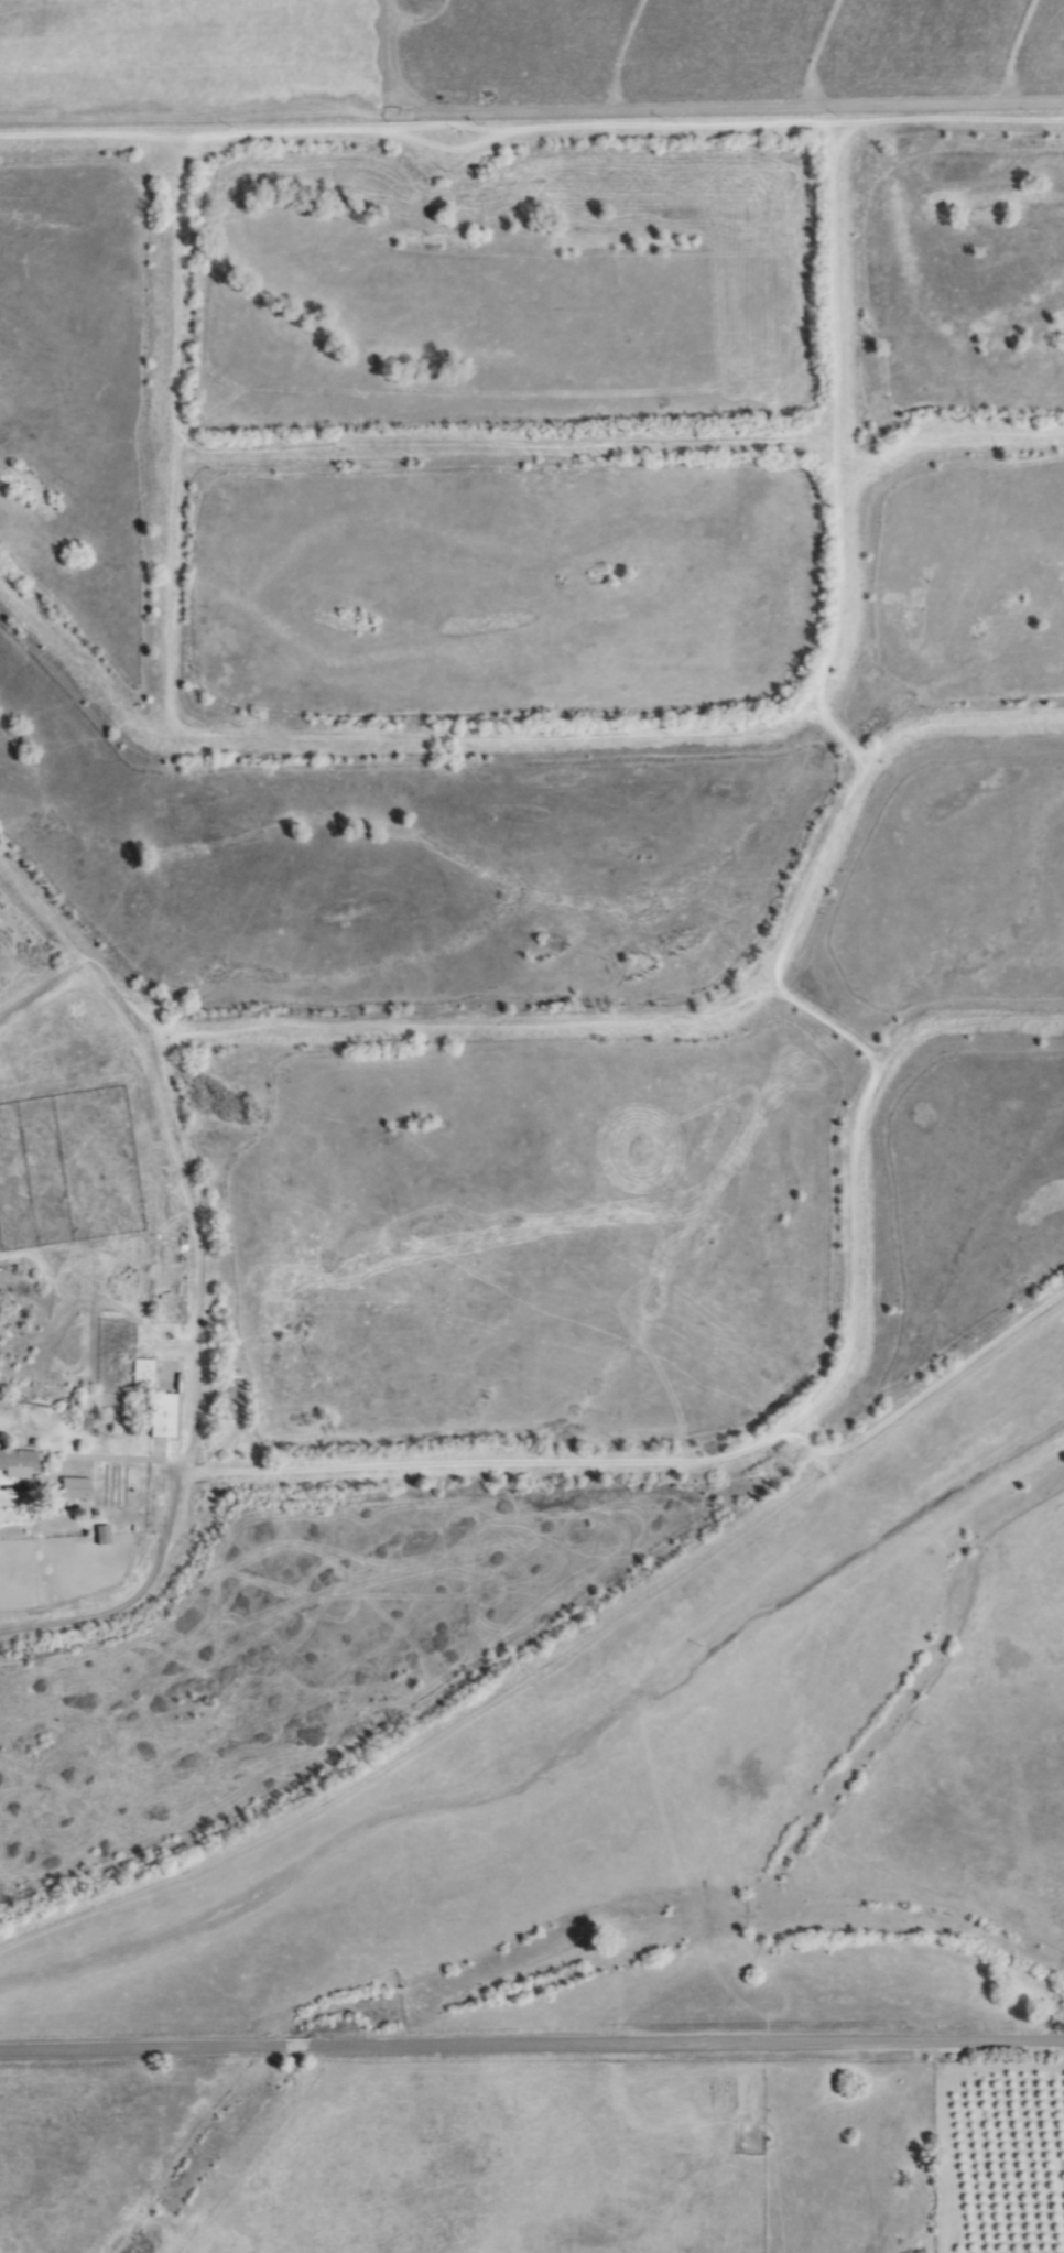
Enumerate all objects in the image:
building: (141, 1375)
building: (161, 1416)
building: (18, 1464)
building: (74, 1490)
building: (100, 1536)
road: (532, 2046)

